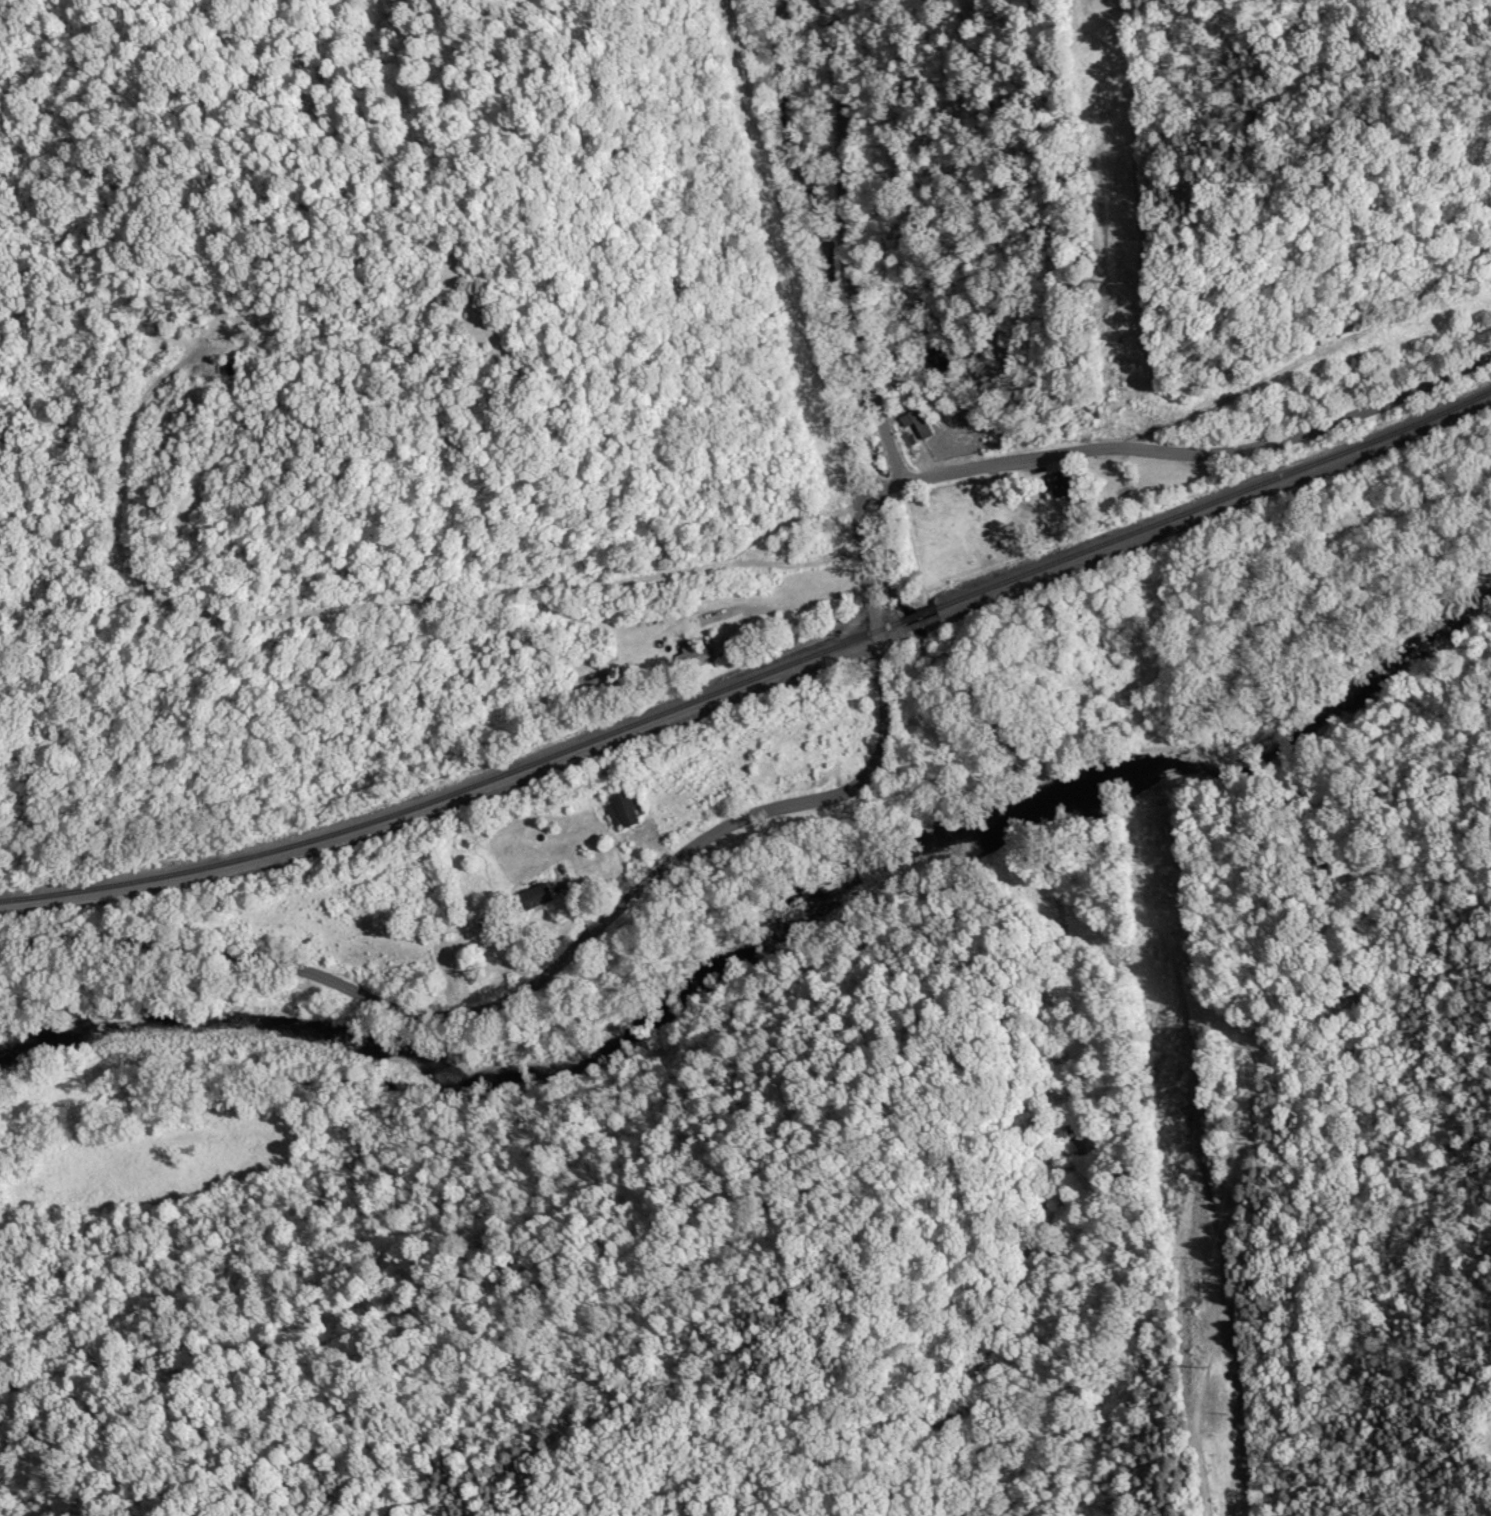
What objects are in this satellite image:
road: (846, 242)
power tower: (1116, 280)
building: (917, 425)
building: (1064, 486)
road: (787, 606)
building: (692, 656)
railway: (756, 678)
road: (859, 778)
building: (623, 810)
building: (537, 896)
power tower: (1175, 1085)
power tower: (1208, 1364)

